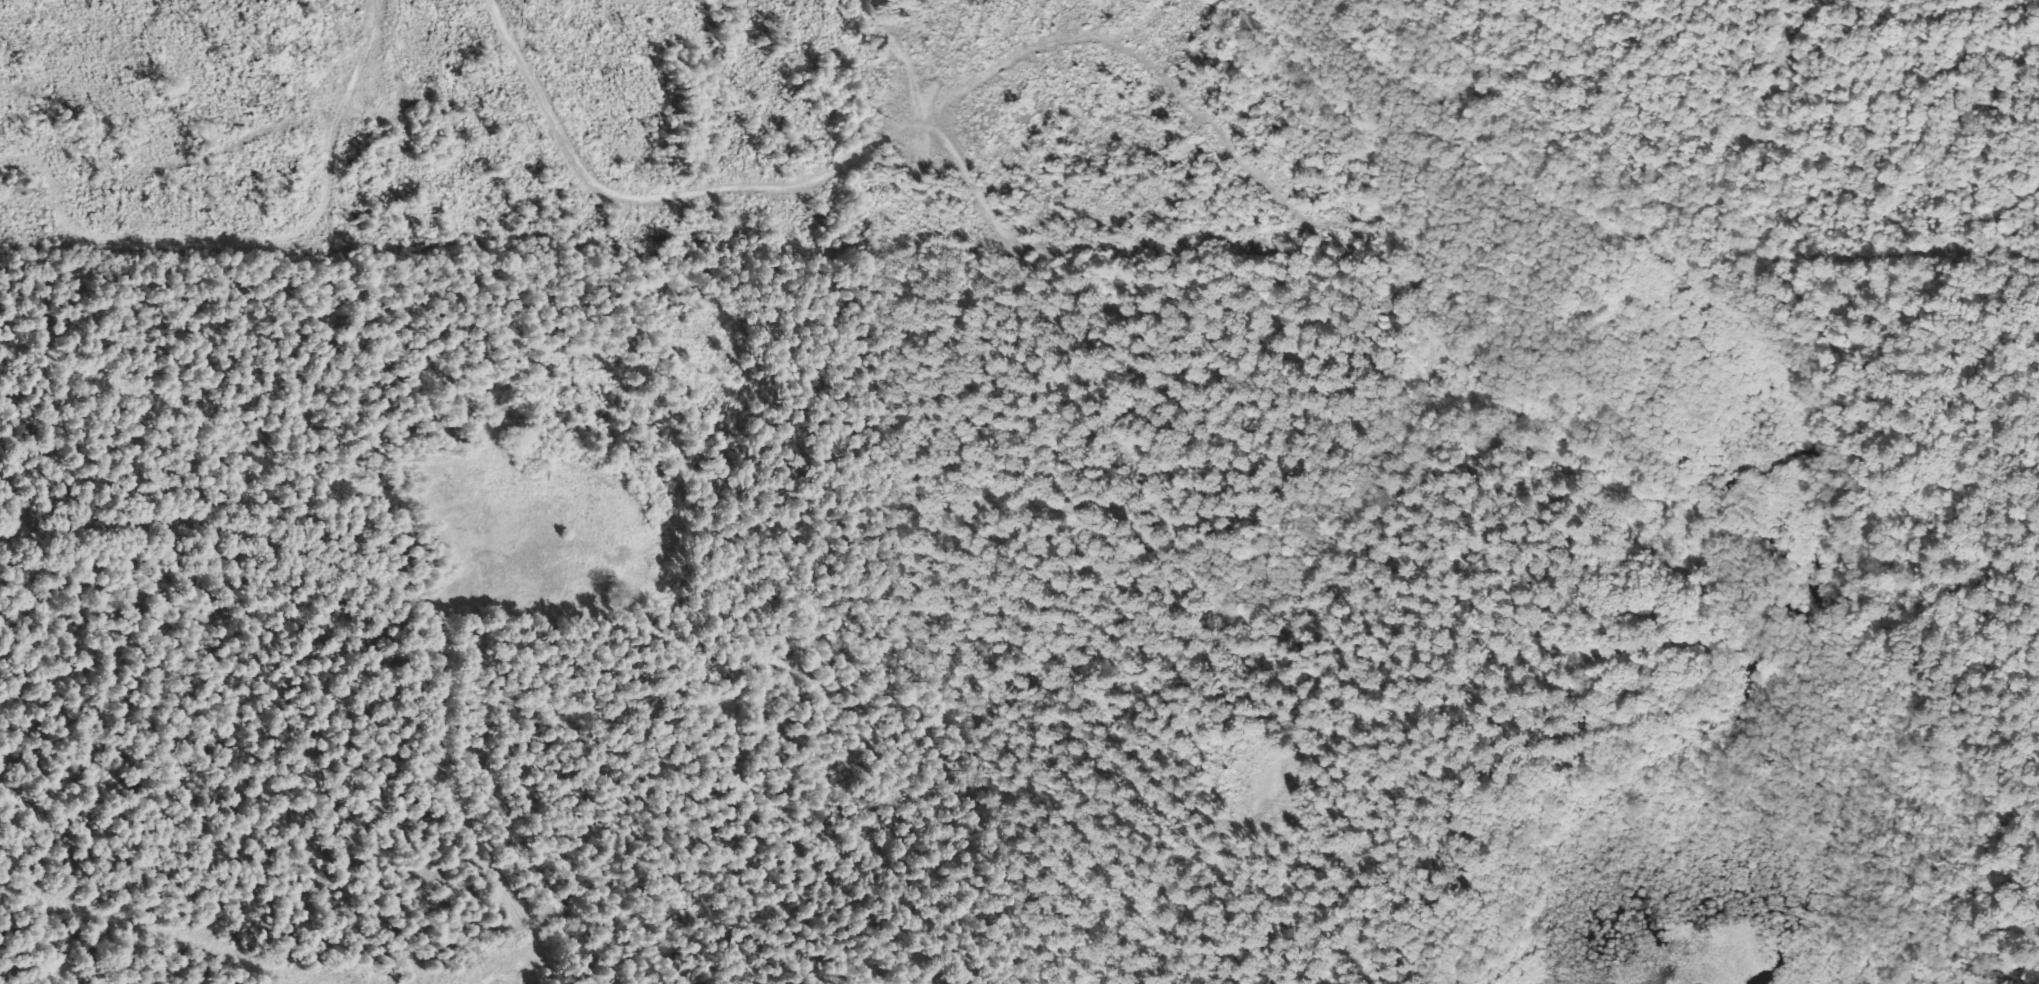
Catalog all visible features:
river: (1720, 416)
road: (421, 596)
road: (1369, 730)

